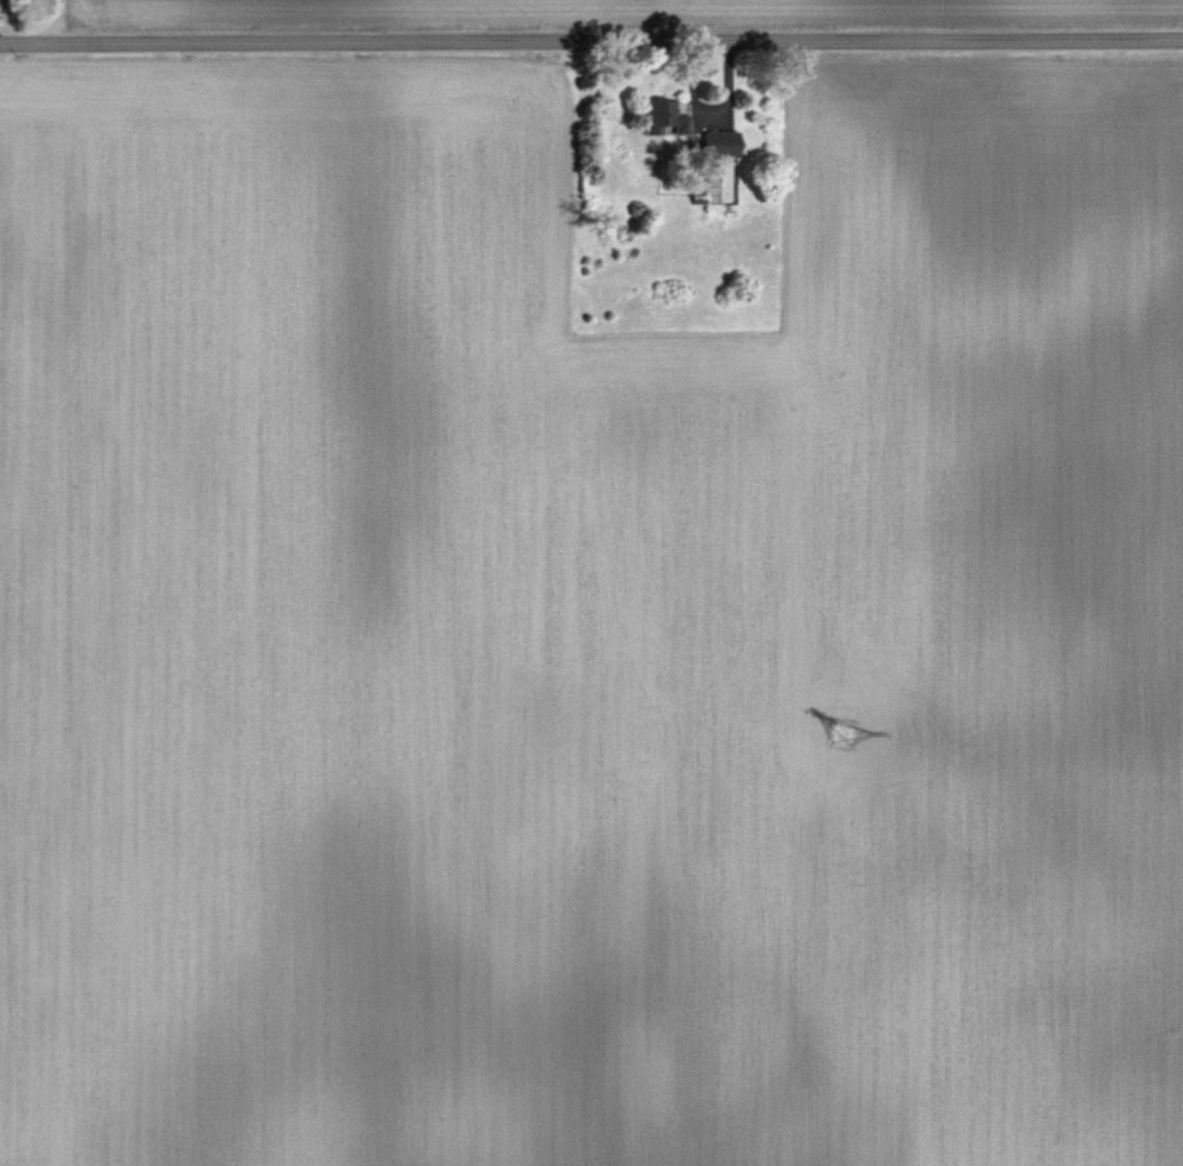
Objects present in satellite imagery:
road: (591, 42)
building: (661, 117)
building: (718, 145)
power tower: (841, 737)

